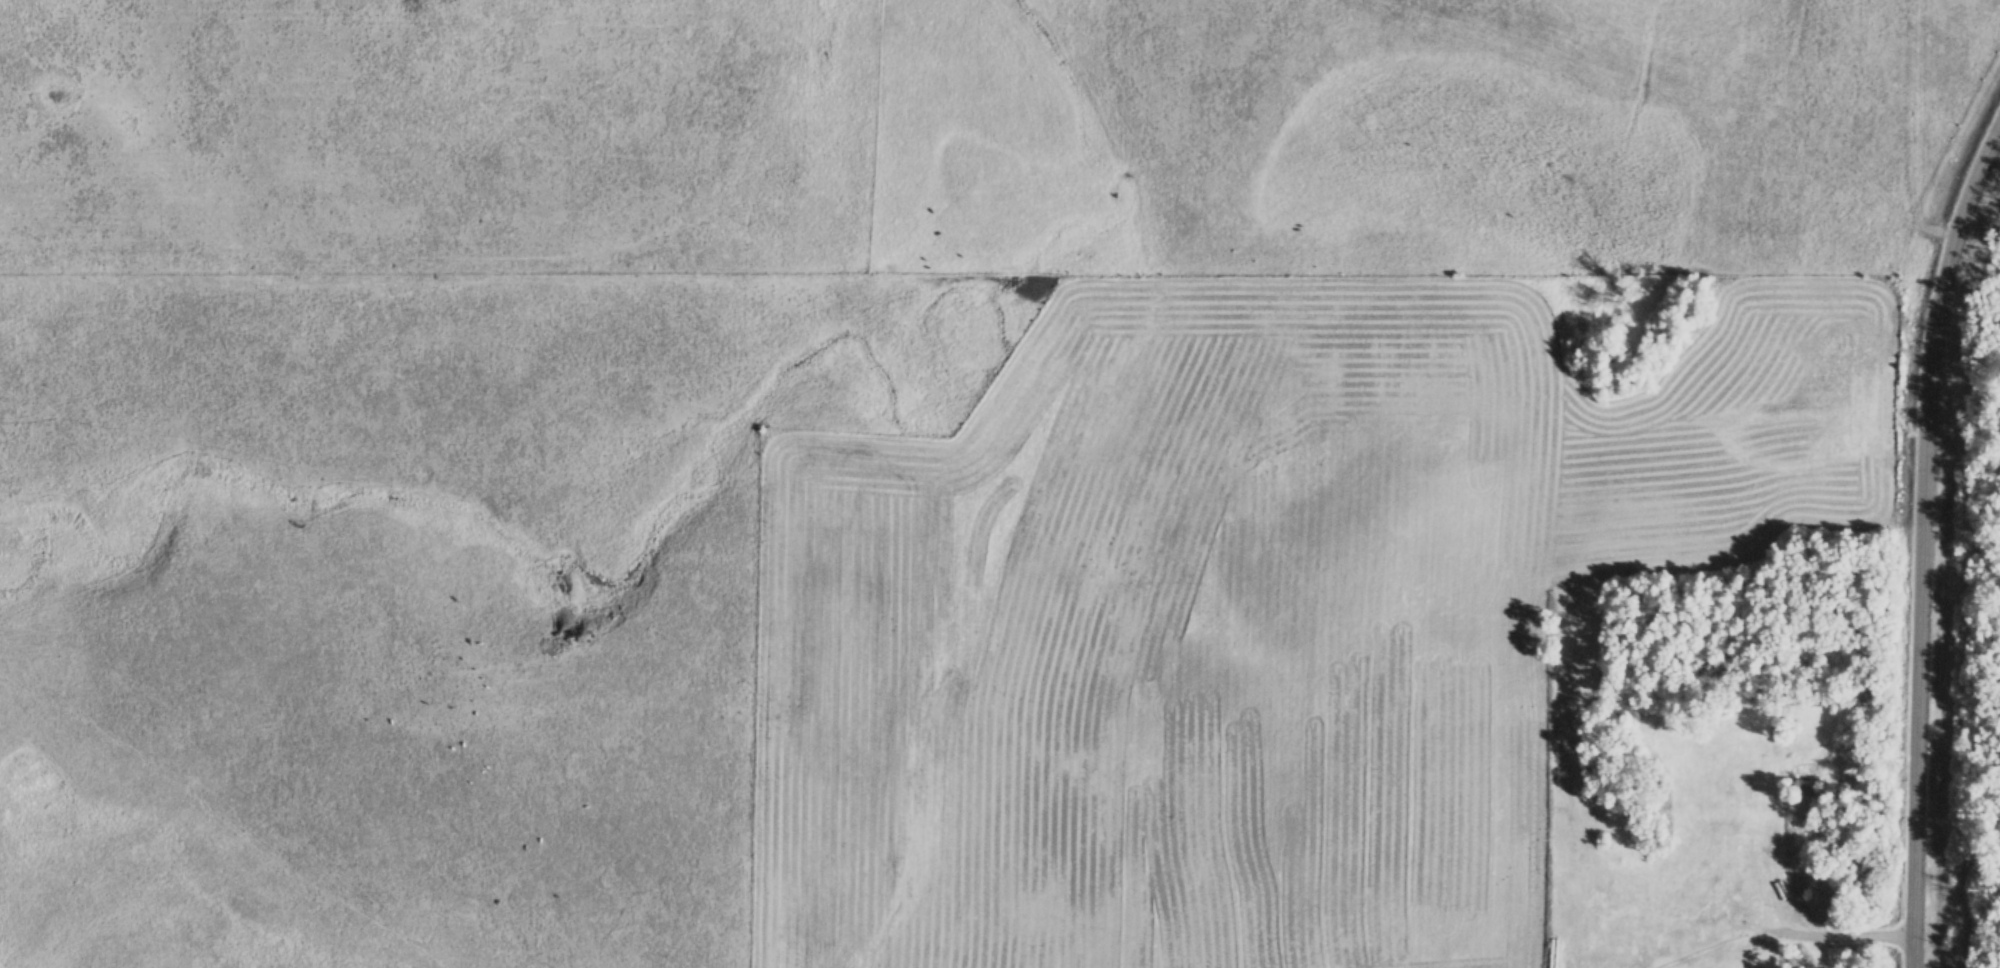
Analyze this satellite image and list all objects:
road: (1926, 544)
building: (1801, 787)

